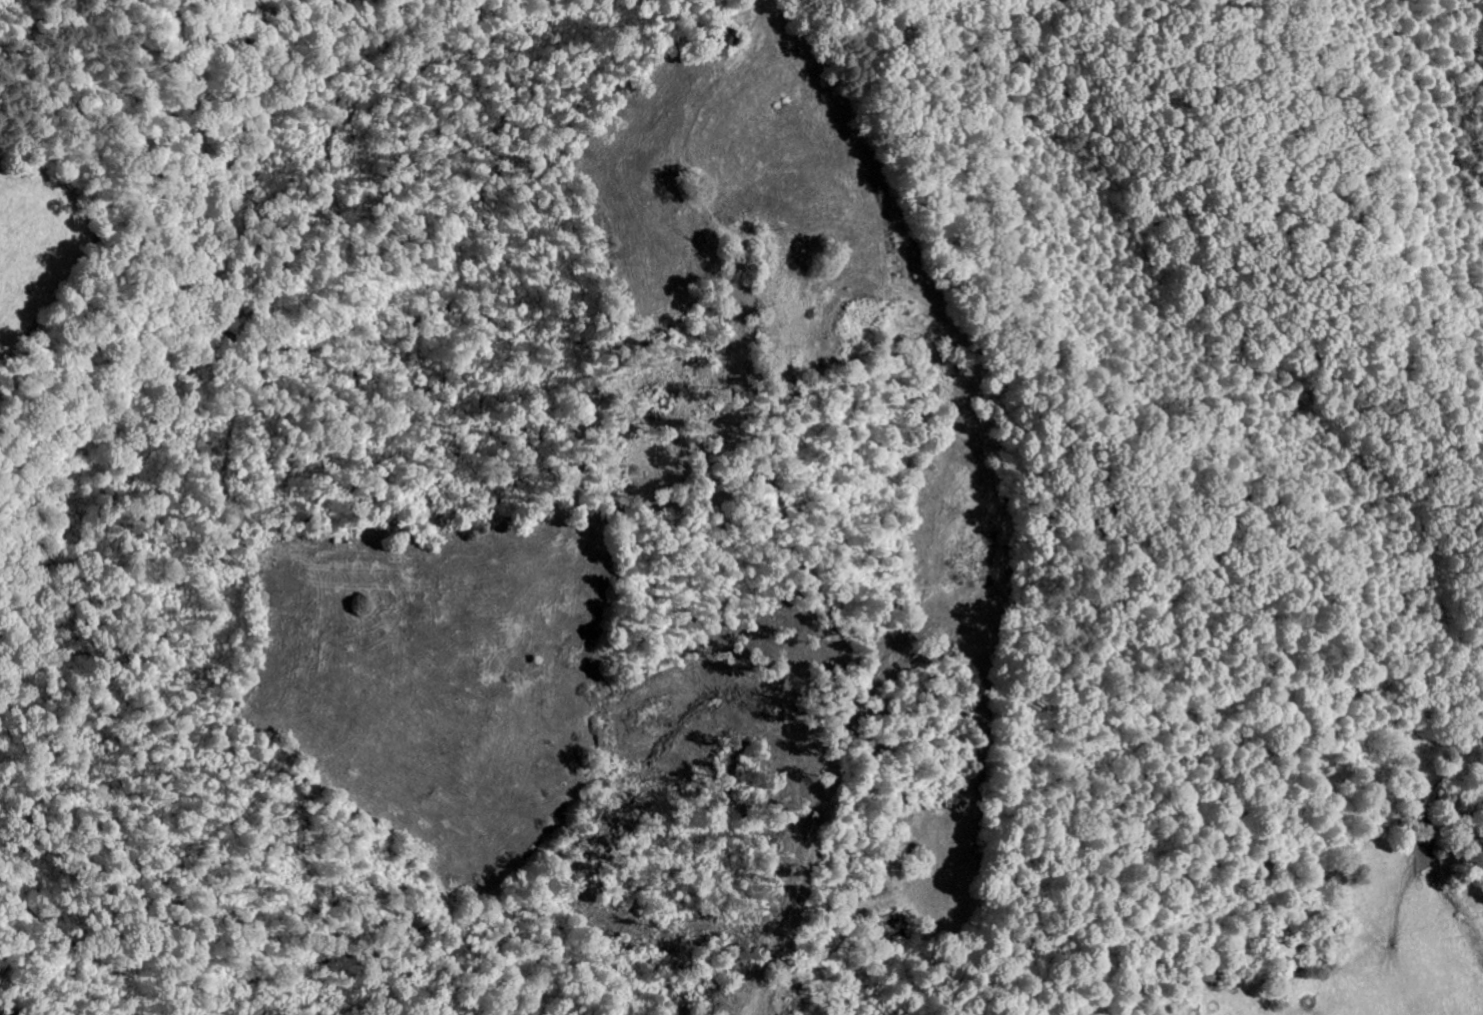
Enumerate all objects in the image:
road: (729, 125)

